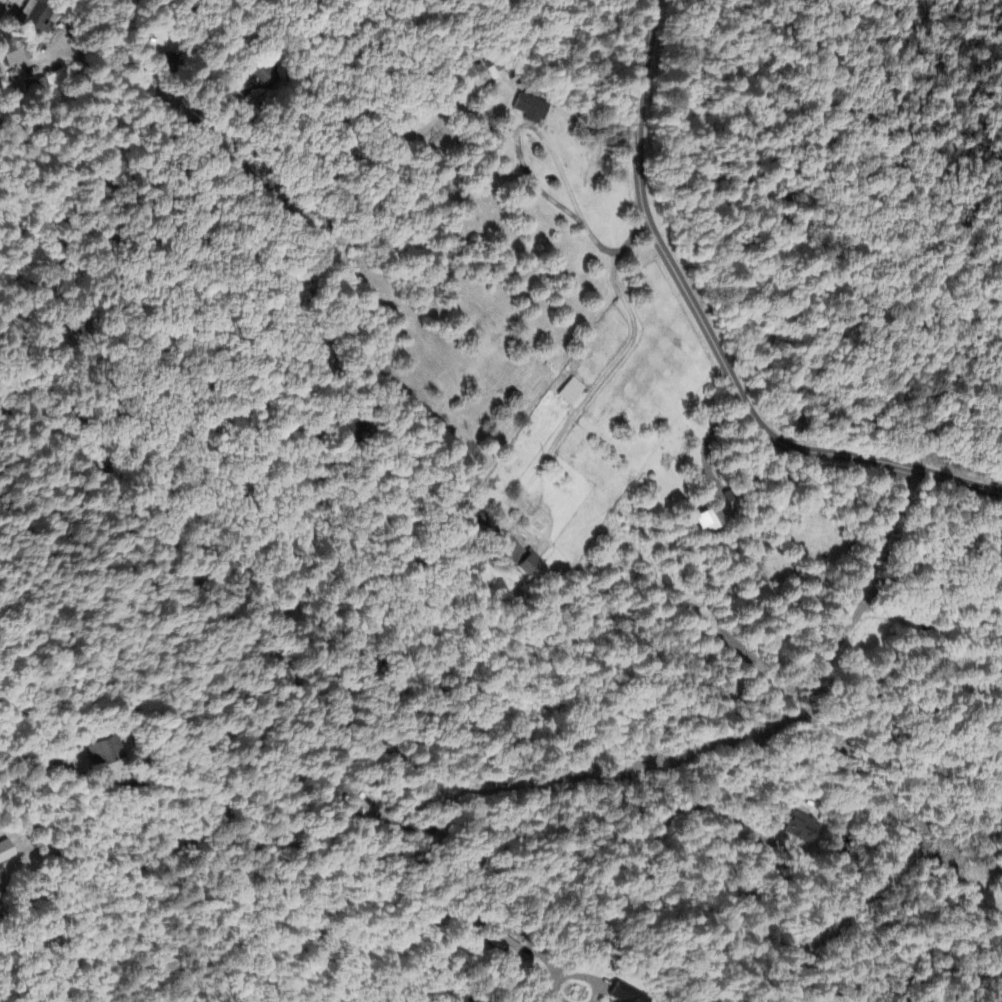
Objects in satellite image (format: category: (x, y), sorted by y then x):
building: (43, 22)
building: (14, 47)
building: (39, 84)
road: (174, 102)
building: (531, 109)
road: (542, 138)
road: (710, 339)
road: (624, 352)
building: (572, 391)
road: (706, 441)
building: (710, 519)
building: (519, 555)
road: (230, 618)
road: (460, 629)
building: (104, 753)
road: (703, 787)
building: (802, 827)
road: (279, 842)
building: (6, 852)
building: (505, 946)
park: (361, 966)
road: (587, 979)
road: (558, 990)
building: (627, 995)

